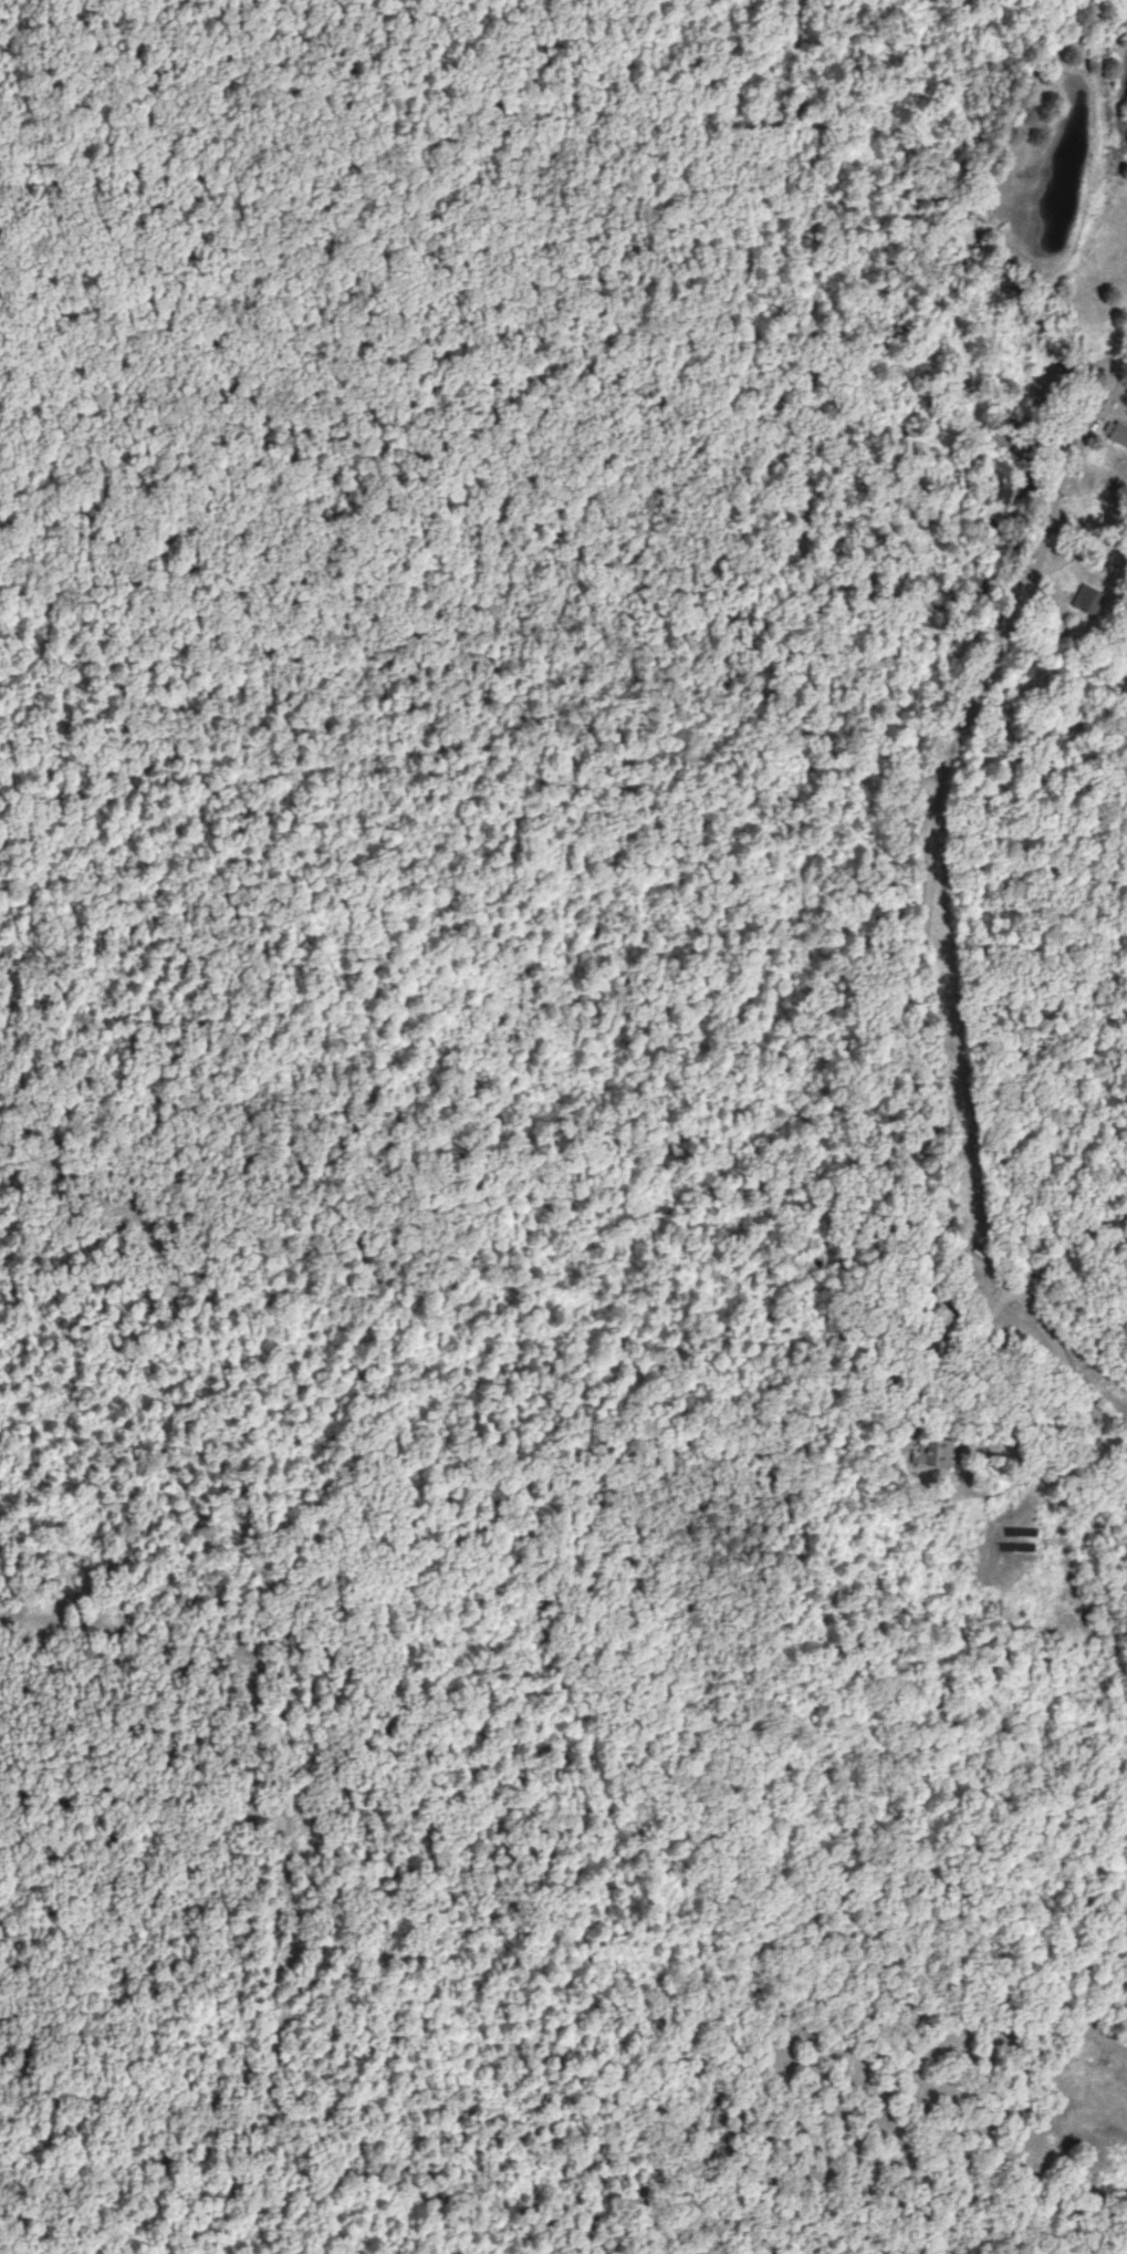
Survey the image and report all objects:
building: (1116, 433)
building: (1087, 602)
road: (816, 1110)
building: (947, 1322)
building: (933, 1453)

